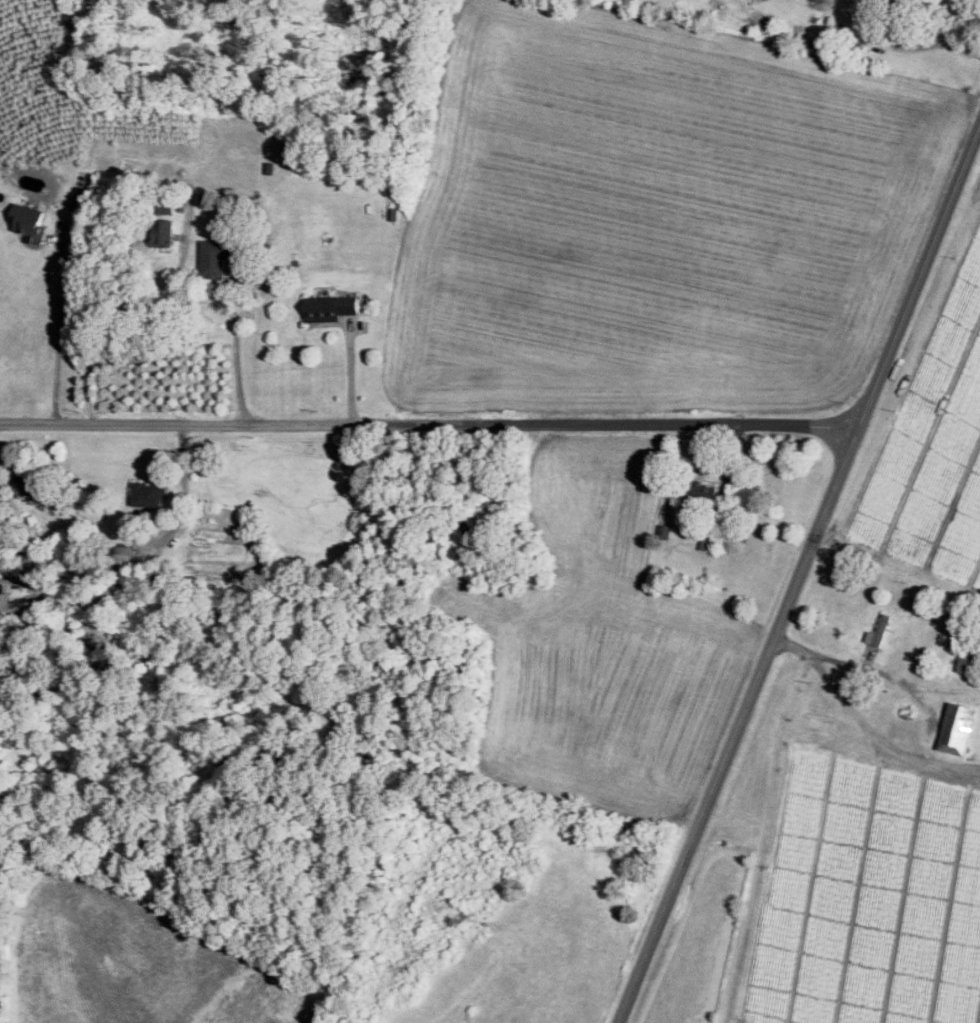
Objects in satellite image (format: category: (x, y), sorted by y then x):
building: (870, 9)
road: (888, 31)
road: (962, 46)
crop: (41, 82)
crop: (659, 218)
building: (31, 220)
building: (166, 231)
building: (219, 255)
building: (335, 307)
road: (60, 329)
road: (237, 343)
road: (158, 353)
road: (351, 372)
crop: (929, 422)
road: (608, 424)
road: (176, 425)
building: (28, 482)
building: (151, 493)
building: (712, 542)
building: (124, 556)
road: (800, 576)
building: (880, 630)
crop: (603, 648)
building: (969, 664)
building: (960, 727)
road: (932, 728)
road: (949, 765)
crop: (136, 962)

